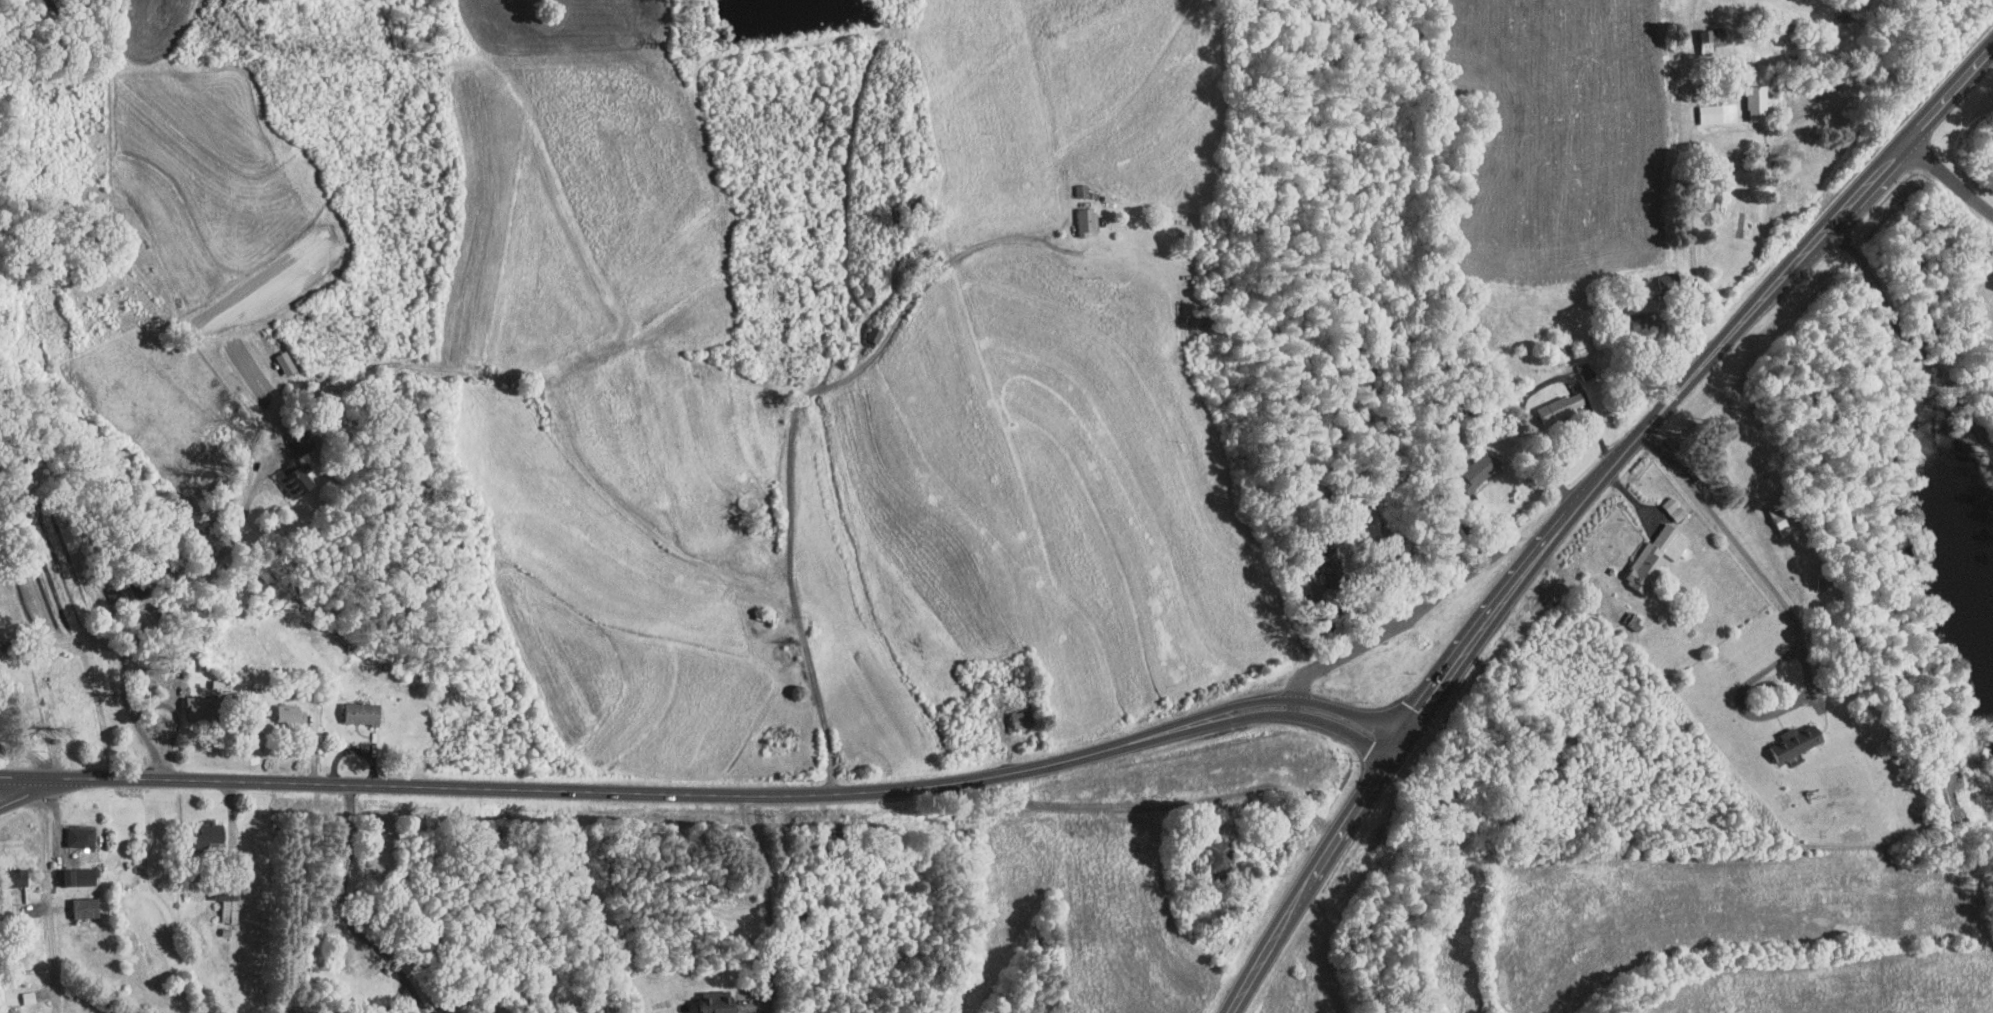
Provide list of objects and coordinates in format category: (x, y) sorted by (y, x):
building: (1707, 46)
building: (1756, 102)
building: (1718, 112)
road: (1911, 135)
road: (1949, 178)
building: (1077, 214)
building: (1671, 279)
building: (1197, 322)
building: (1644, 323)
road: (1909, 339)
road: (1723, 345)
building: (1561, 406)
road: (793, 445)
building: (1478, 470)
building: (287, 473)
building: (1674, 508)
building: (1657, 558)
building: (1329, 559)
road: (154, 605)
road: (1503, 605)
road: (1796, 621)
road: (1396, 625)
building: (196, 701)
building: (283, 707)
building: (355, 707)
road: (1316, 711)
building: (1012, 713)
building: (1797, 742)
traffic signals: (1398, 750)
road: (23, 791)
road: (617, 792)
building: (1784, 801)
building: (201, 827)
building: (71, 831)
building: (1219, 858)
building: (72, 871)
road: (1312, 879)
road: (47, 883)
road: (344, 893)
building: (78, 902)
road: (768, 904)
building: (219, 906)
road: (397, 995)
road: (416, 995)
building: (708, 997)

